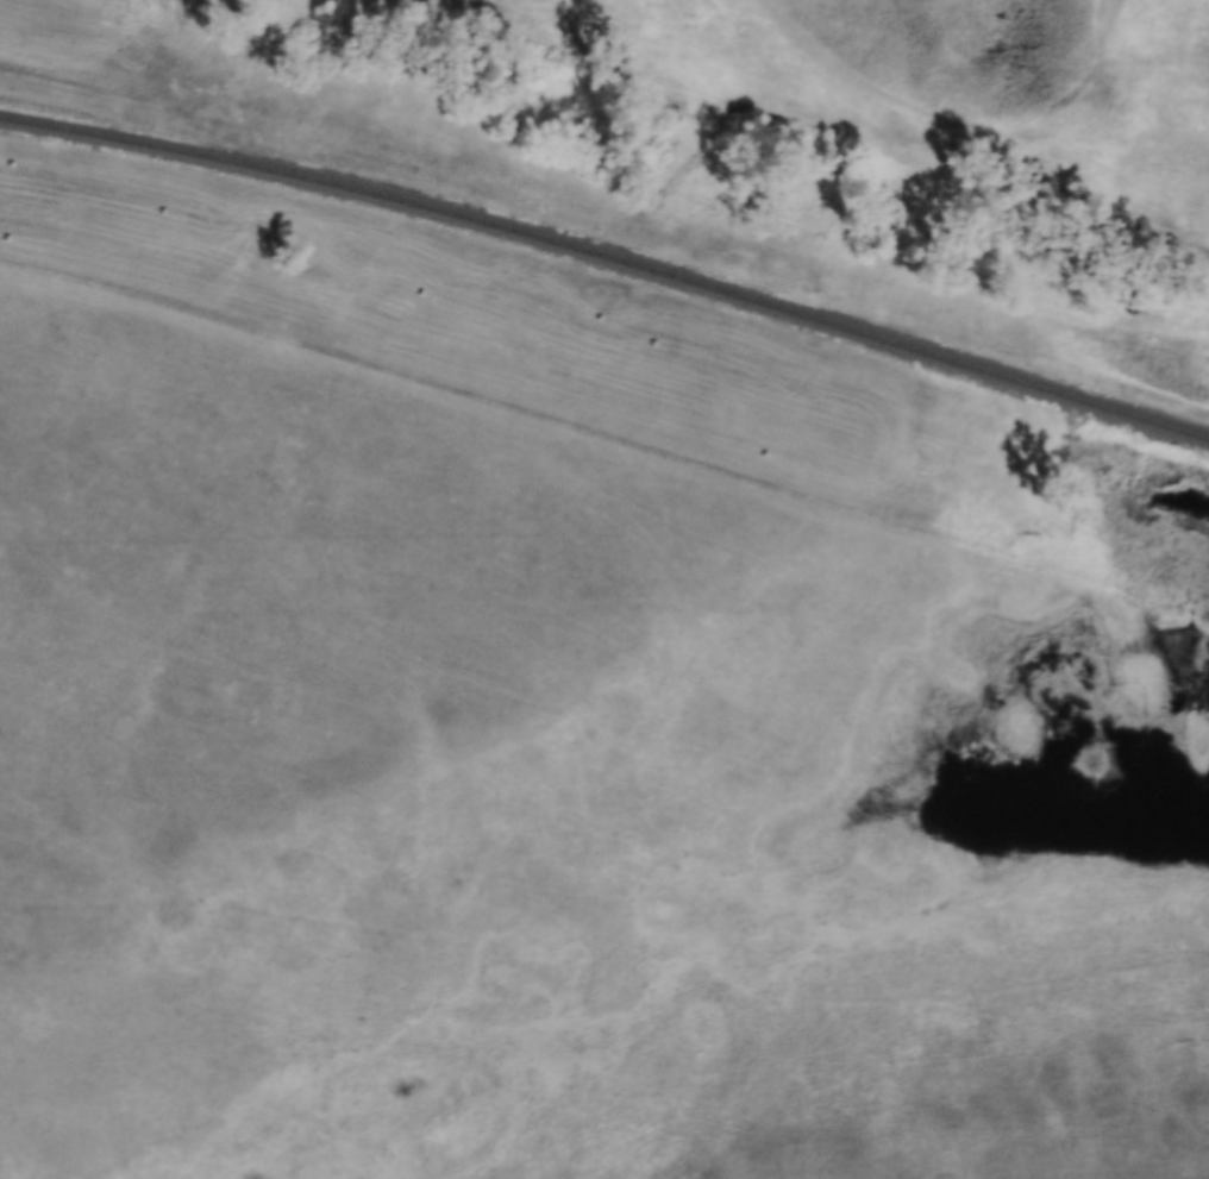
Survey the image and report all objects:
railway: (609, 228)

